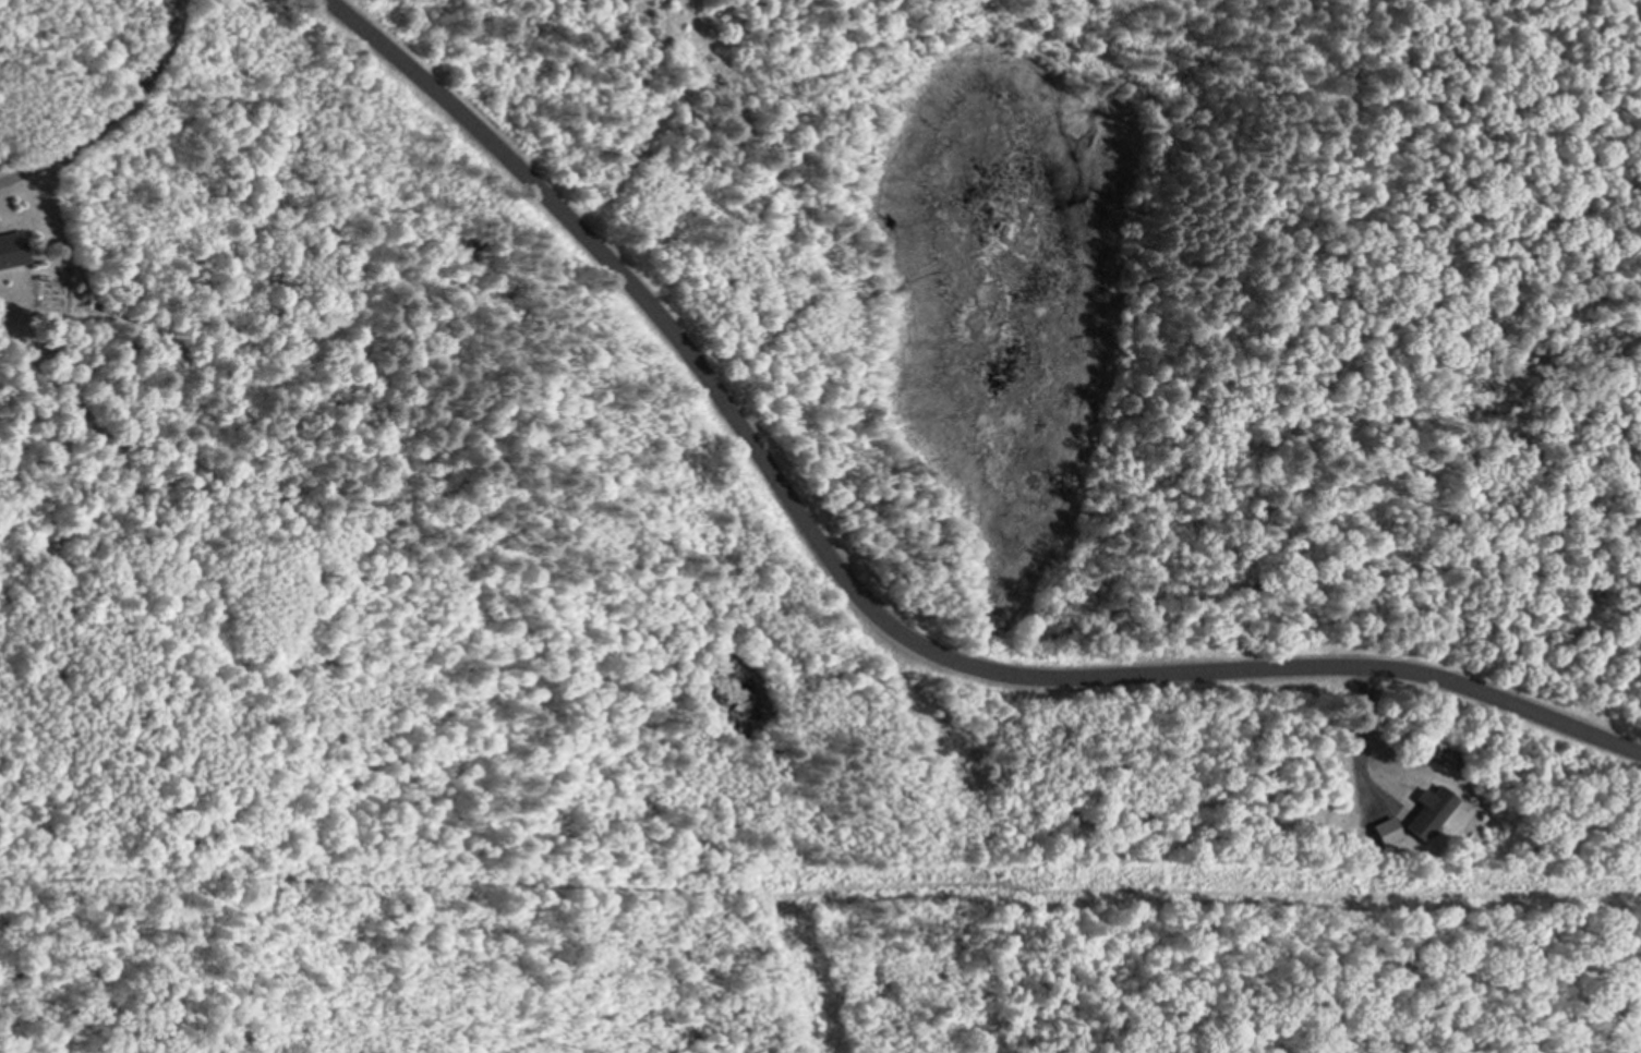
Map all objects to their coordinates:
road: (116, 114)
building: (11, 247)
road: (861, 606)
road: (1352, 734)
building: (1423, 811)
building: (1379, 828)

